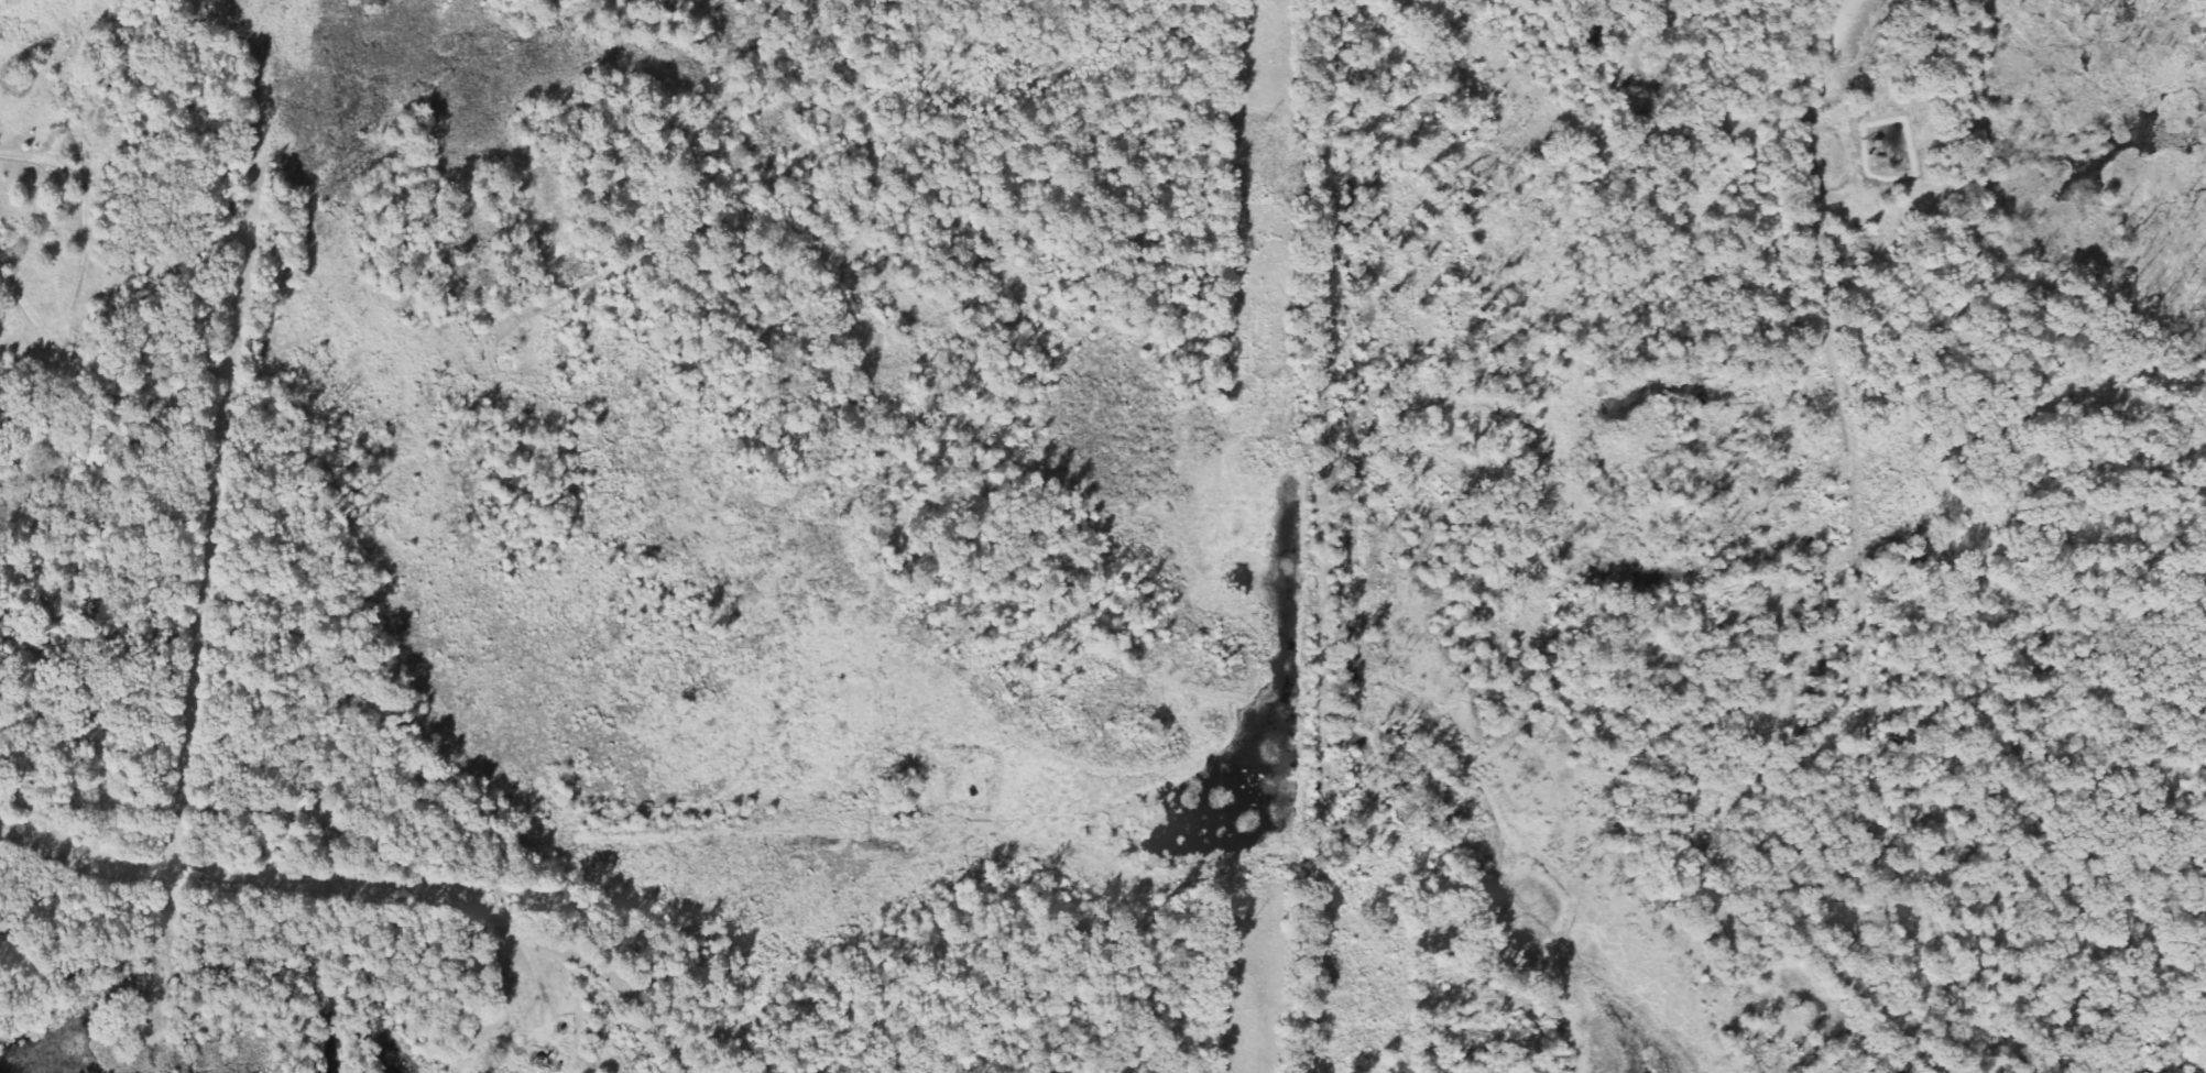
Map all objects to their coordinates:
road: (378, 850)

